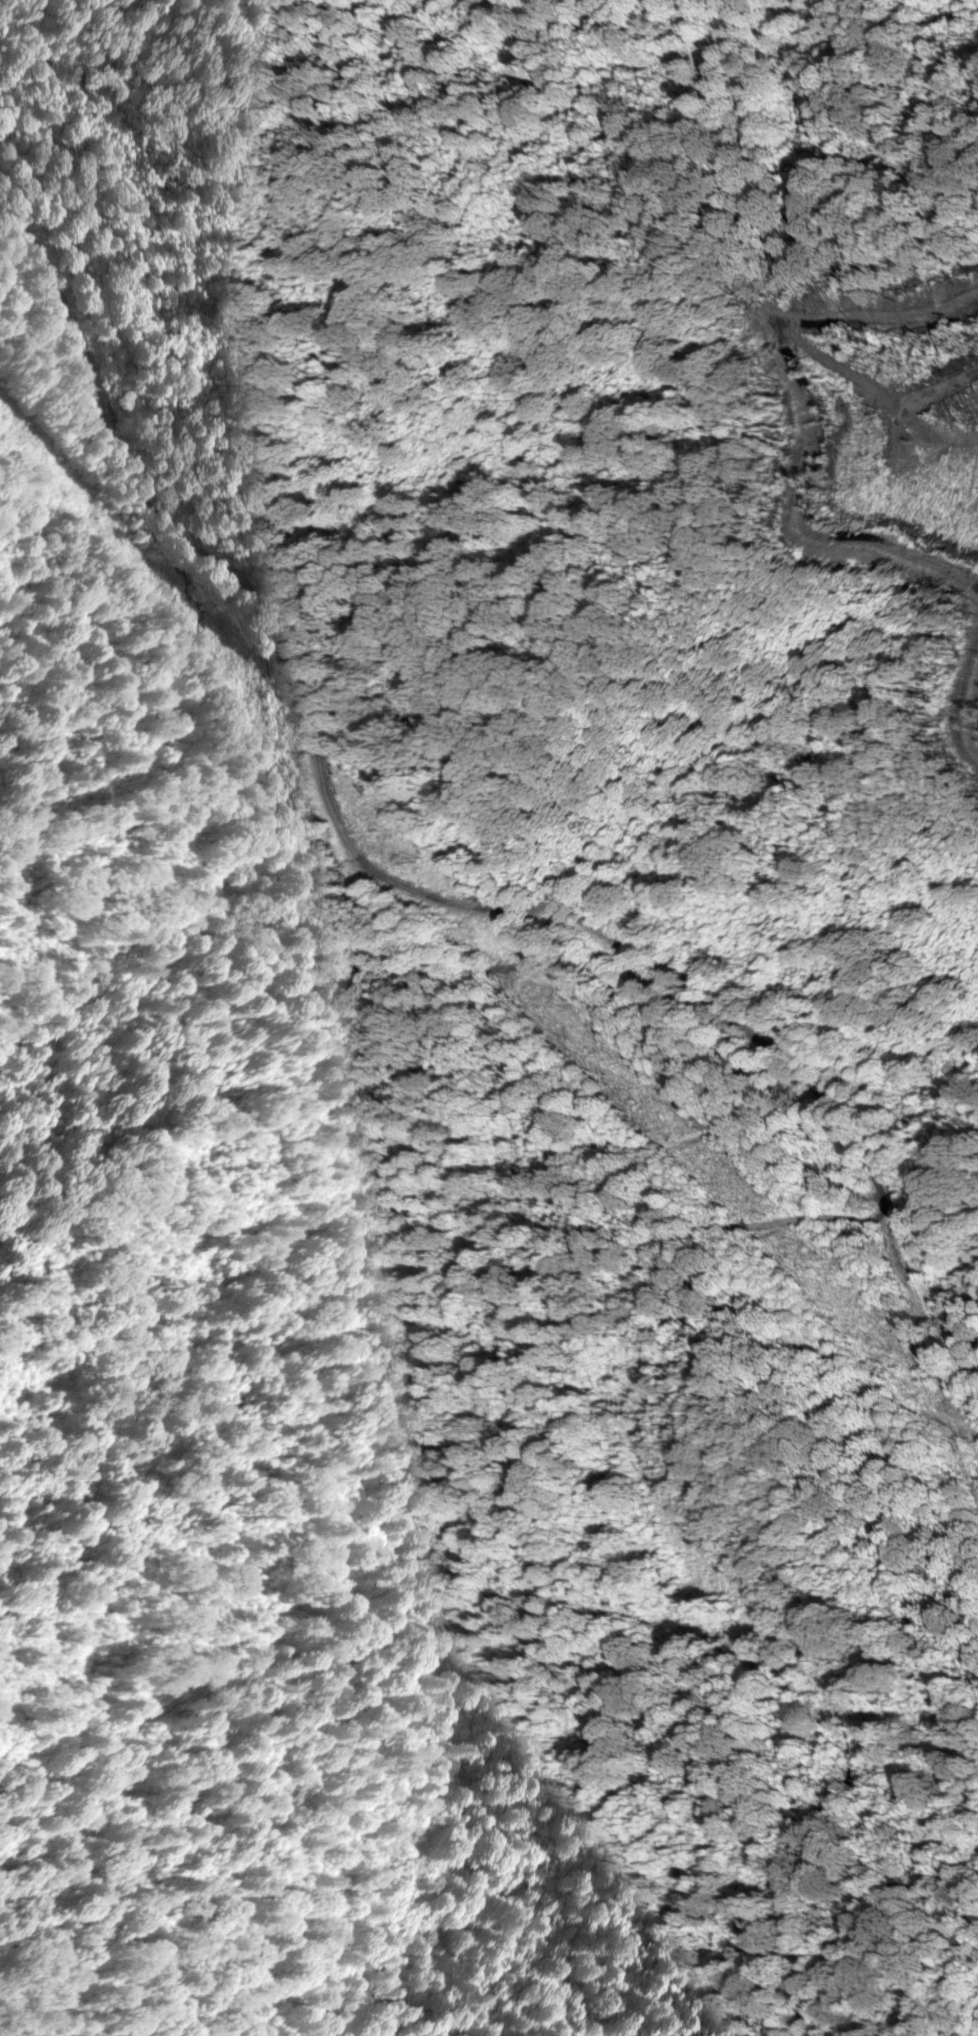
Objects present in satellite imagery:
quarry: (892, 416)

